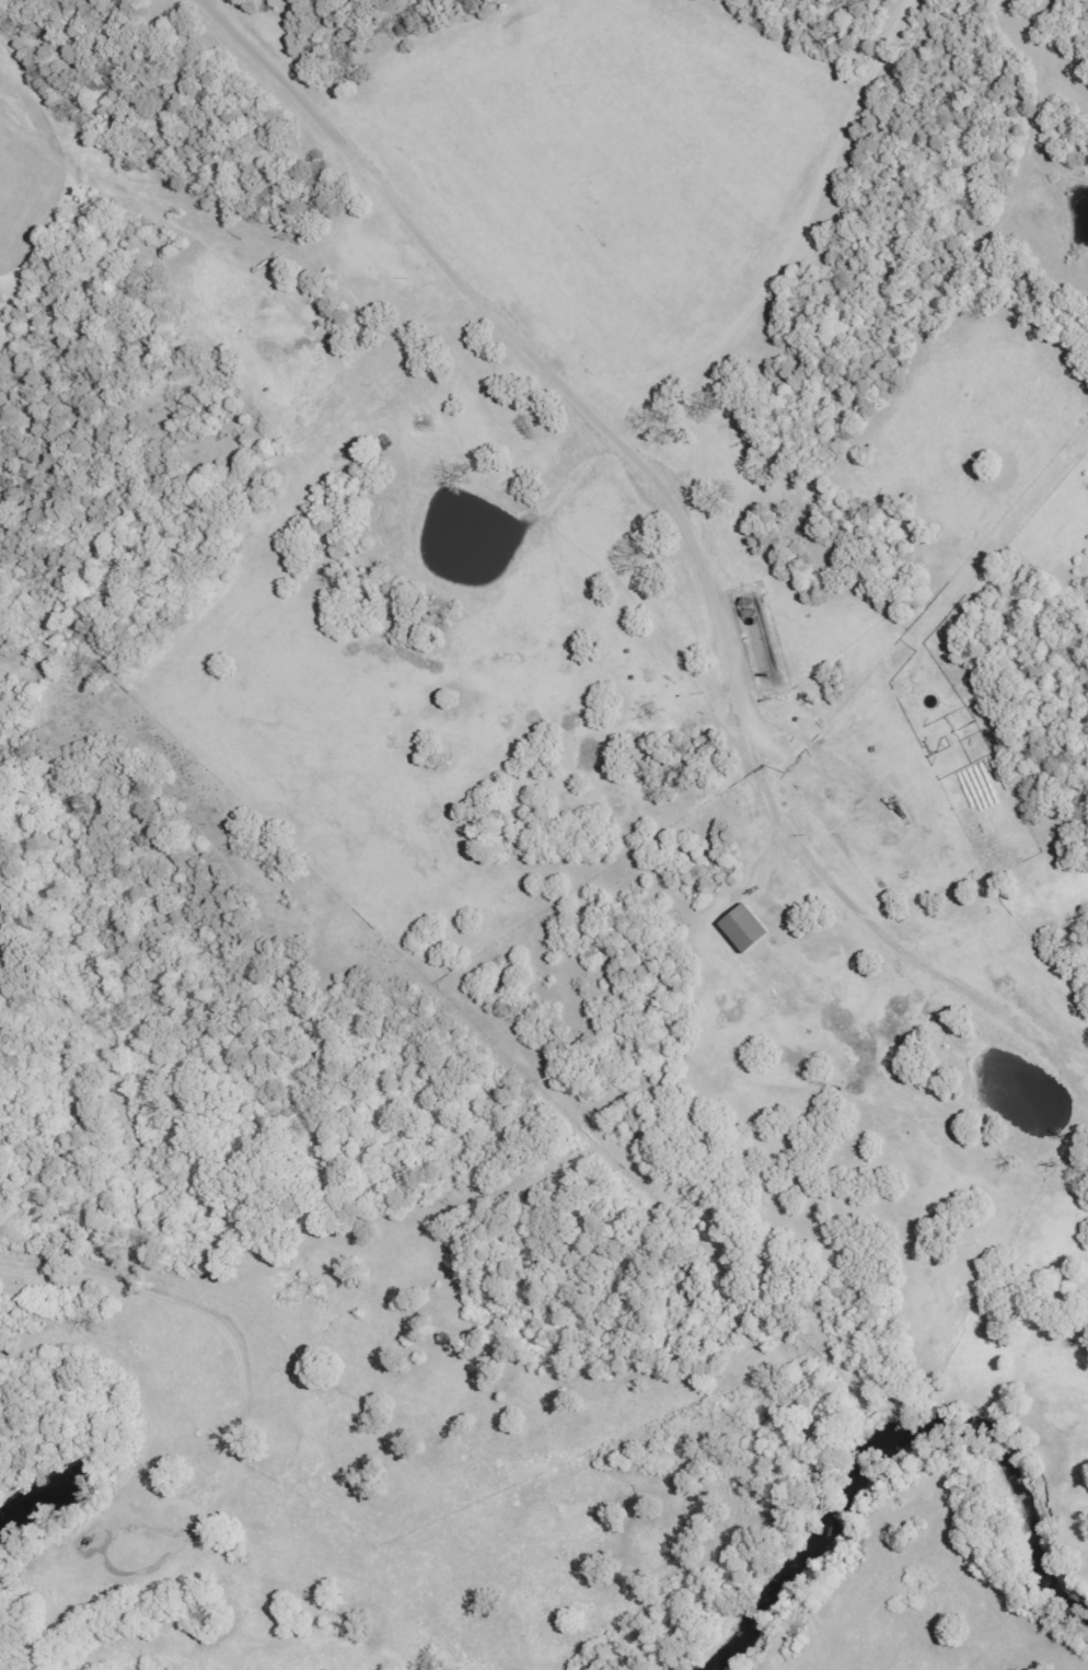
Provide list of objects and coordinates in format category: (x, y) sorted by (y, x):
building: (749, 928)

